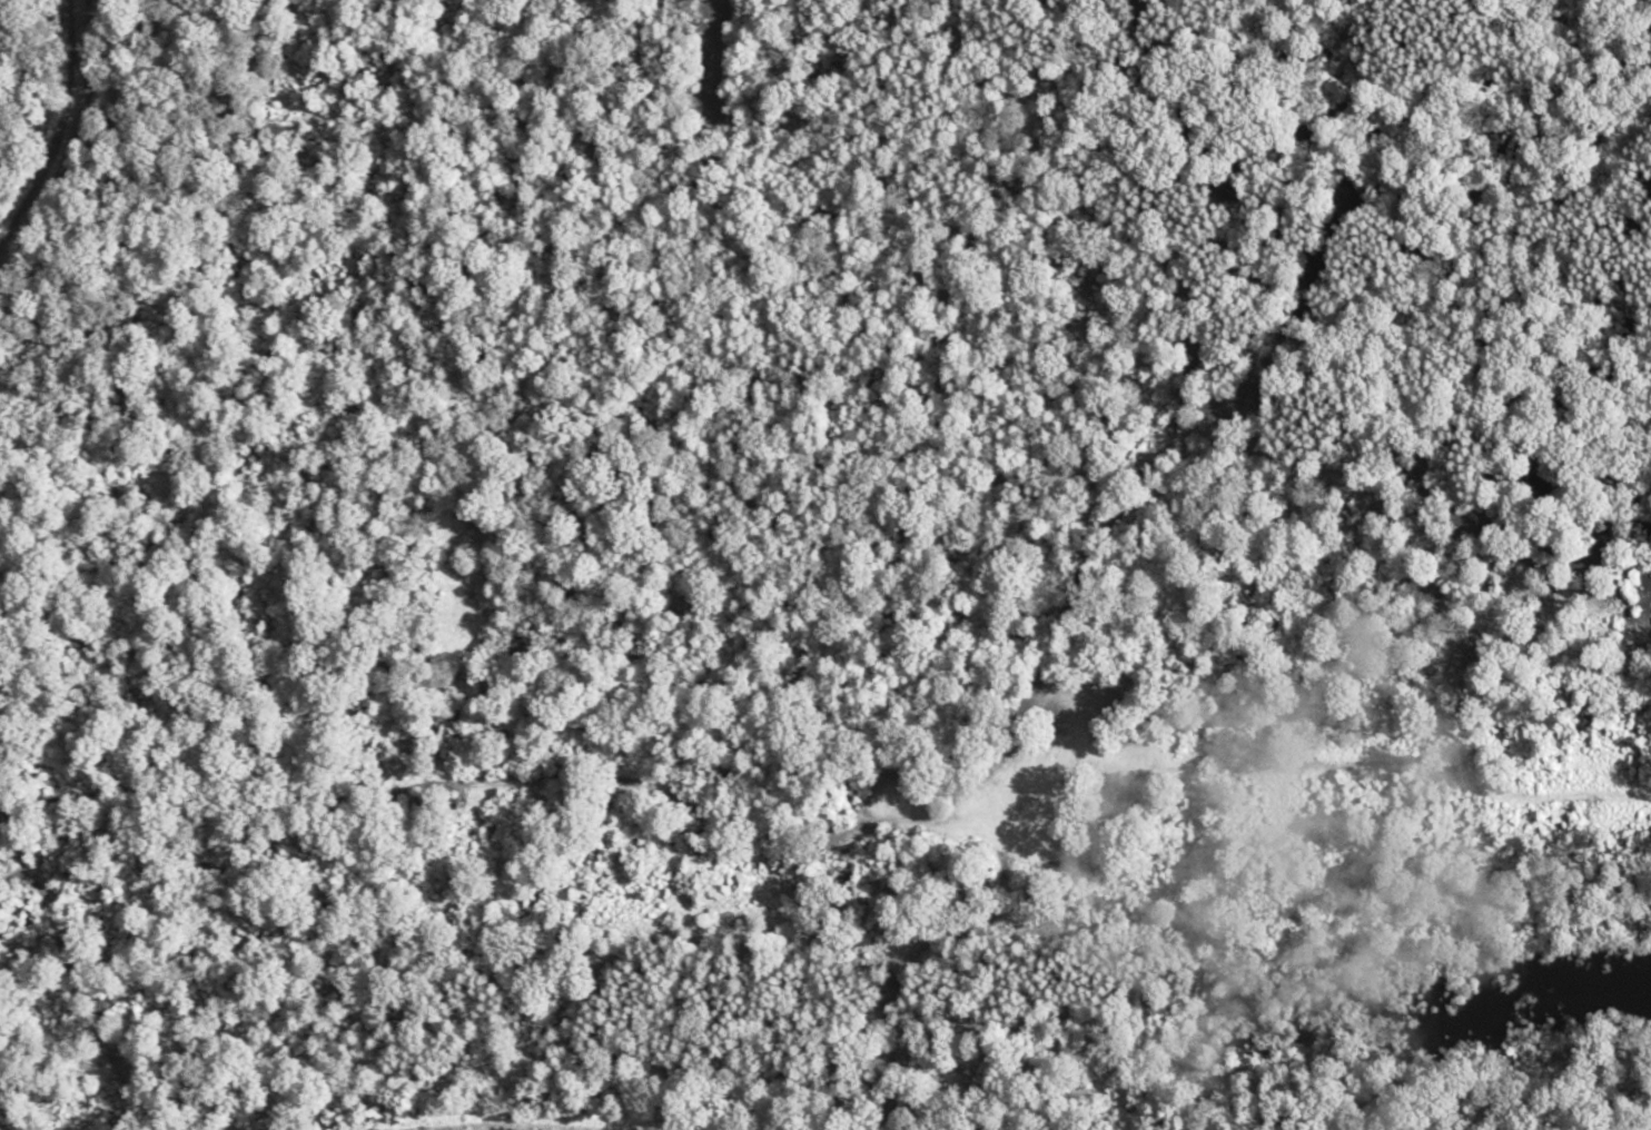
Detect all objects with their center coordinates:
road: (62, 160)

